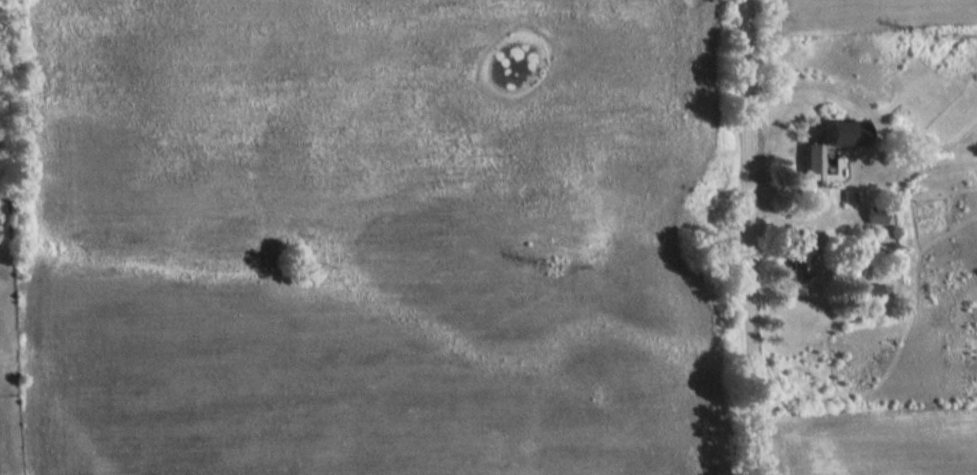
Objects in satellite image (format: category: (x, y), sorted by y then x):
power tower: (934, 35)
building: (842, 131)
building: (812, 160)
building: (877, 215)
road: (751, 237)
building: (799, 255)
power tower: (552, 264)
building: (873, 288)

